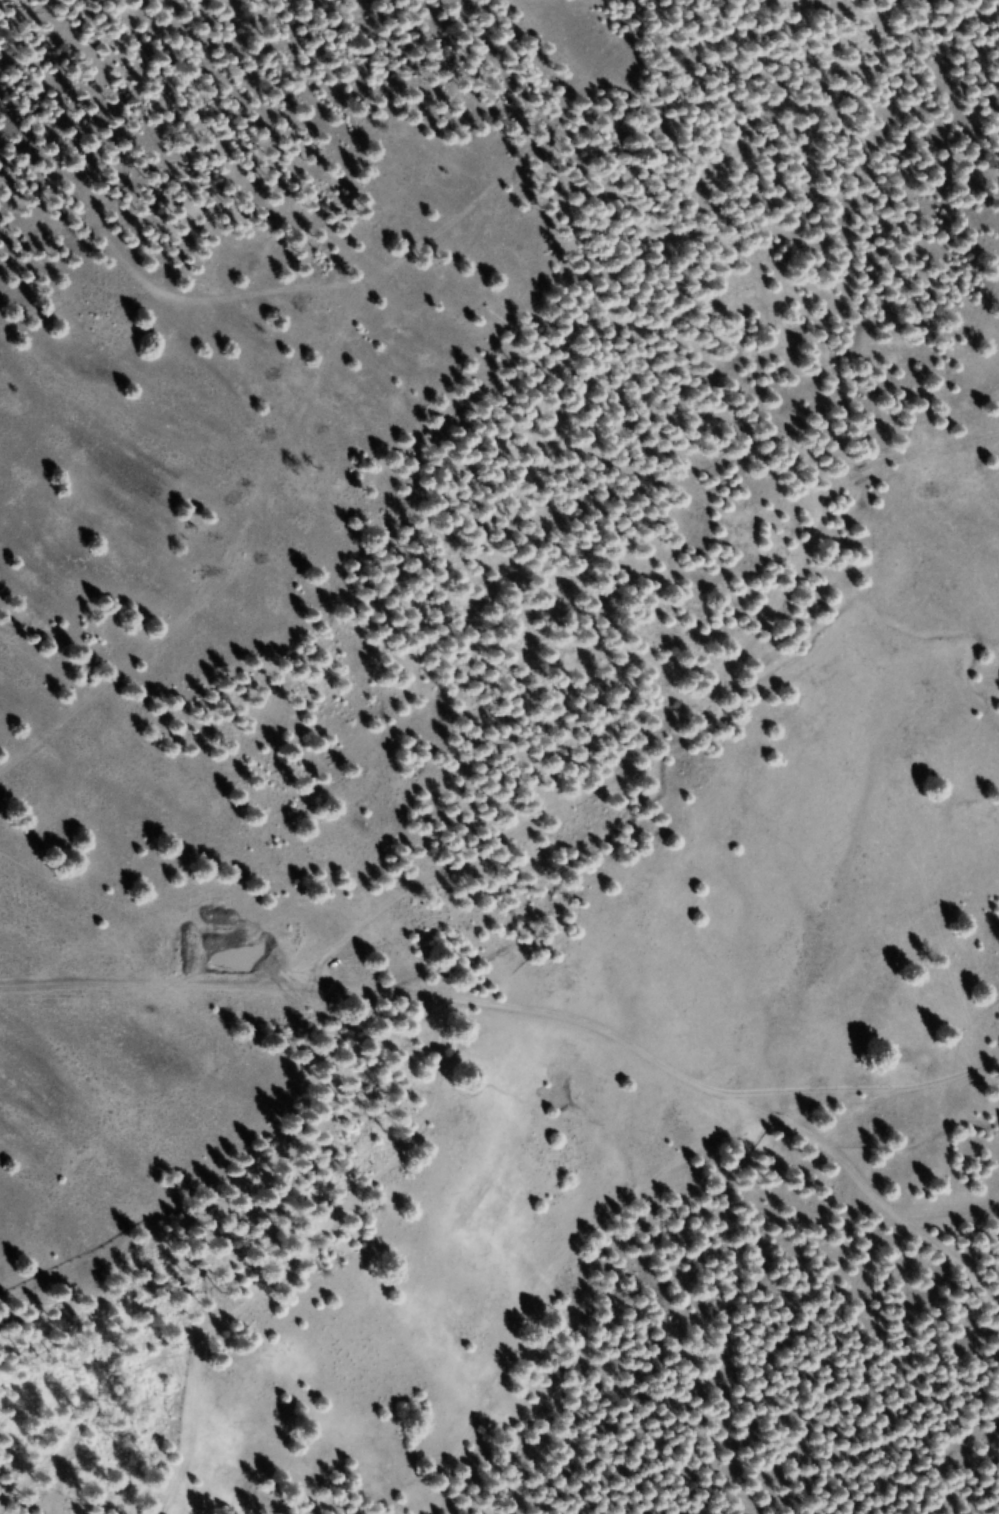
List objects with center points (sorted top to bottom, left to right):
road: (579, 1053)

